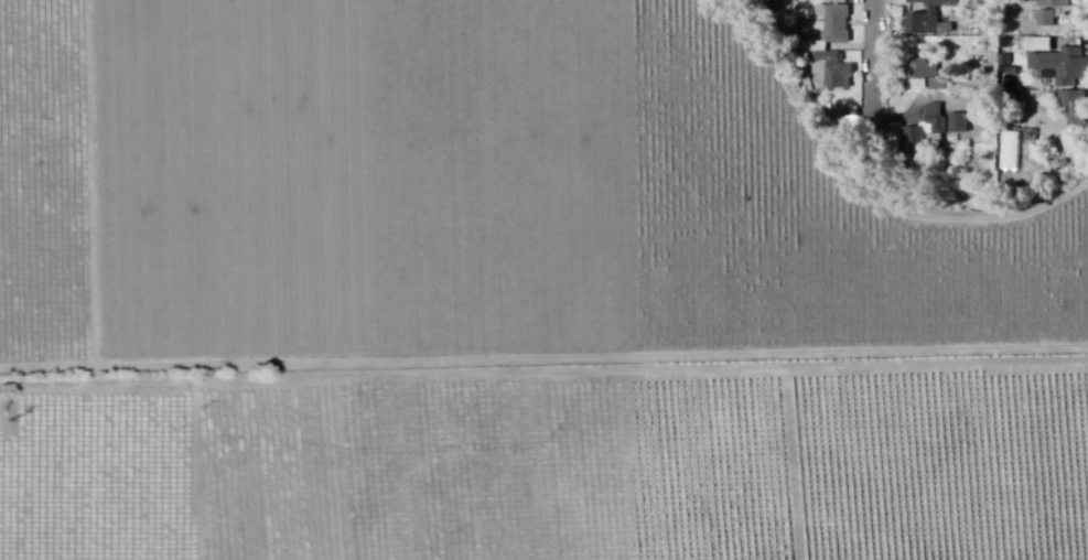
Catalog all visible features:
building: (1056, 4)
building: (990, 14)
building: (1049, 21)
building: (838, 25)
building: (1043, 46)
road: (874, 52)
building: (1064, 68)
building: (925, 72)
building: (841, 75)
building: (989, 104)
building: (1077, 112)
building: (961, 126)
building: (933, 130)
building: (1014, 152)
road: (543, 375)

